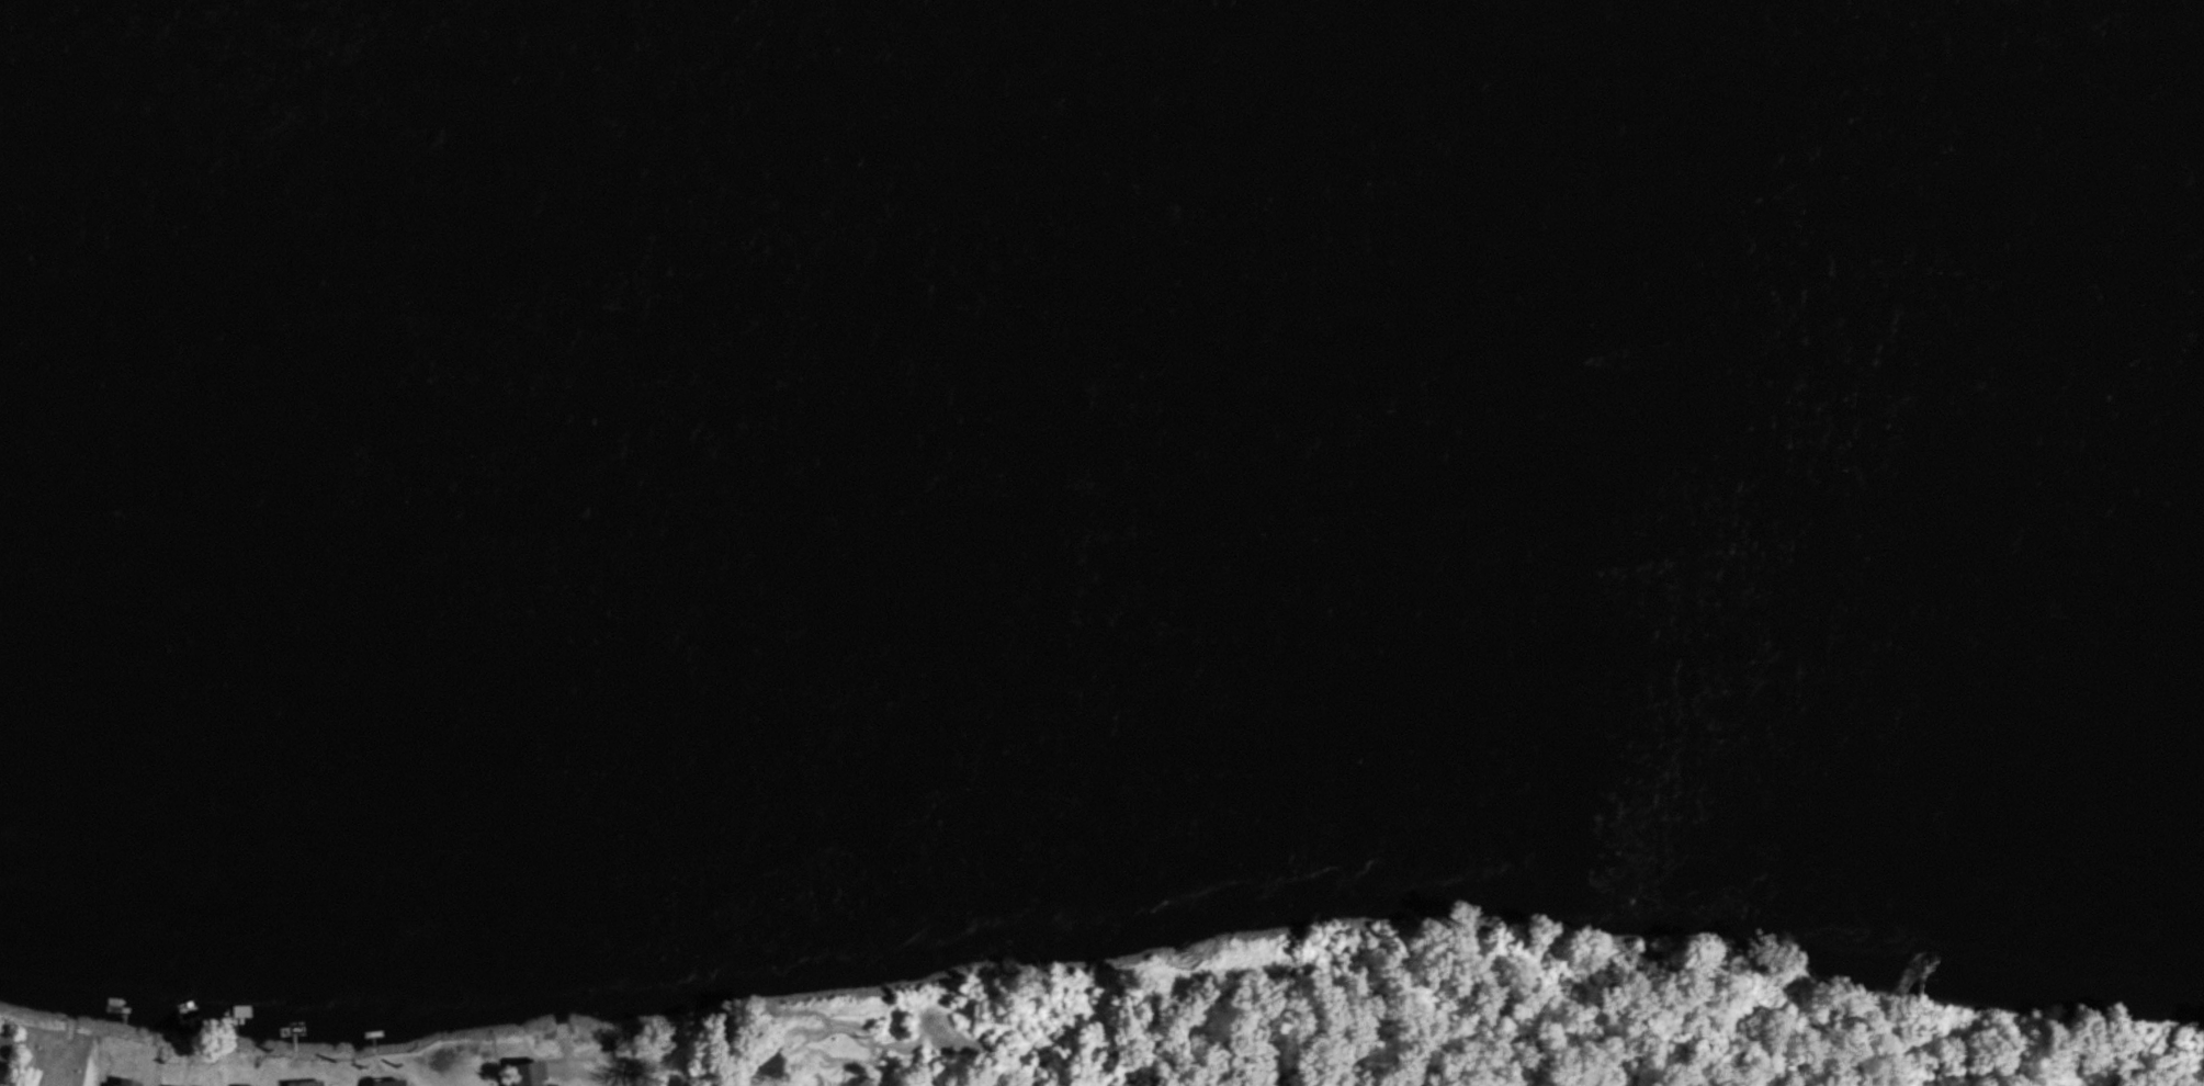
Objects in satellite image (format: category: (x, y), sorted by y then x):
river: (1025, 185)

